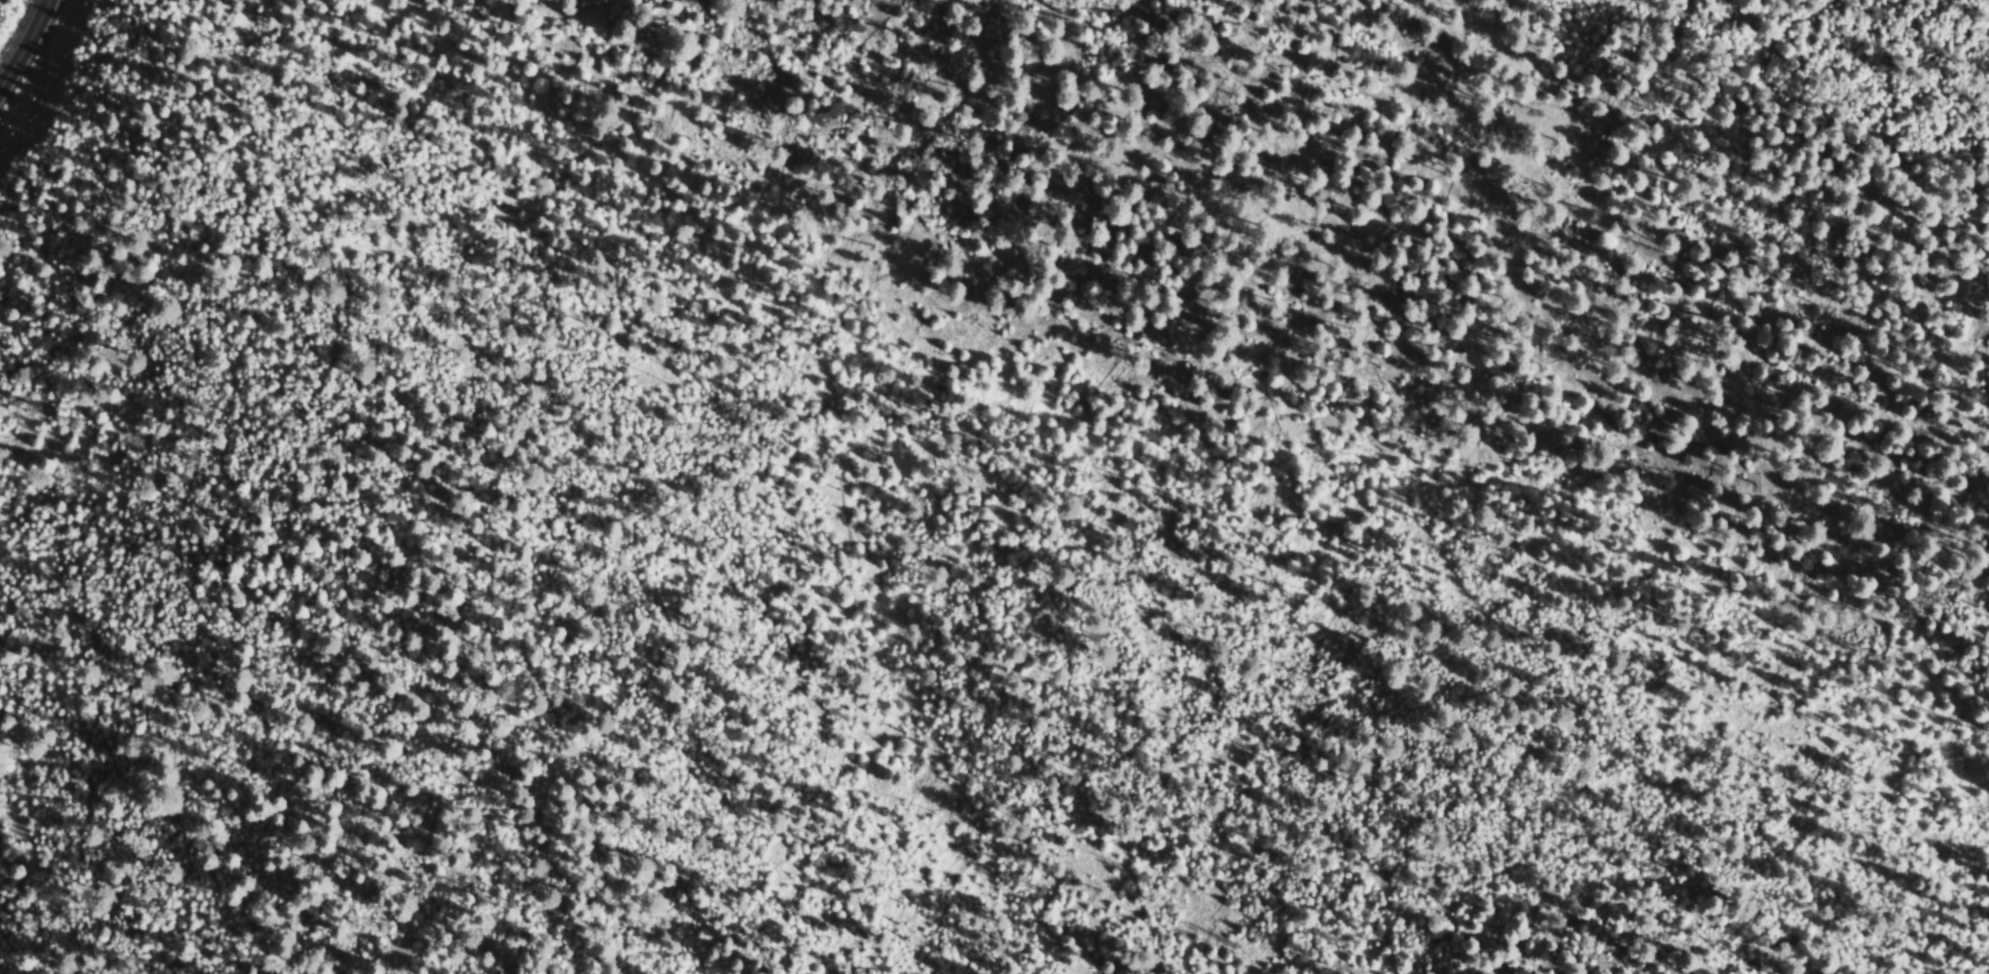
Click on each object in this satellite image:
road: (26, 46)

